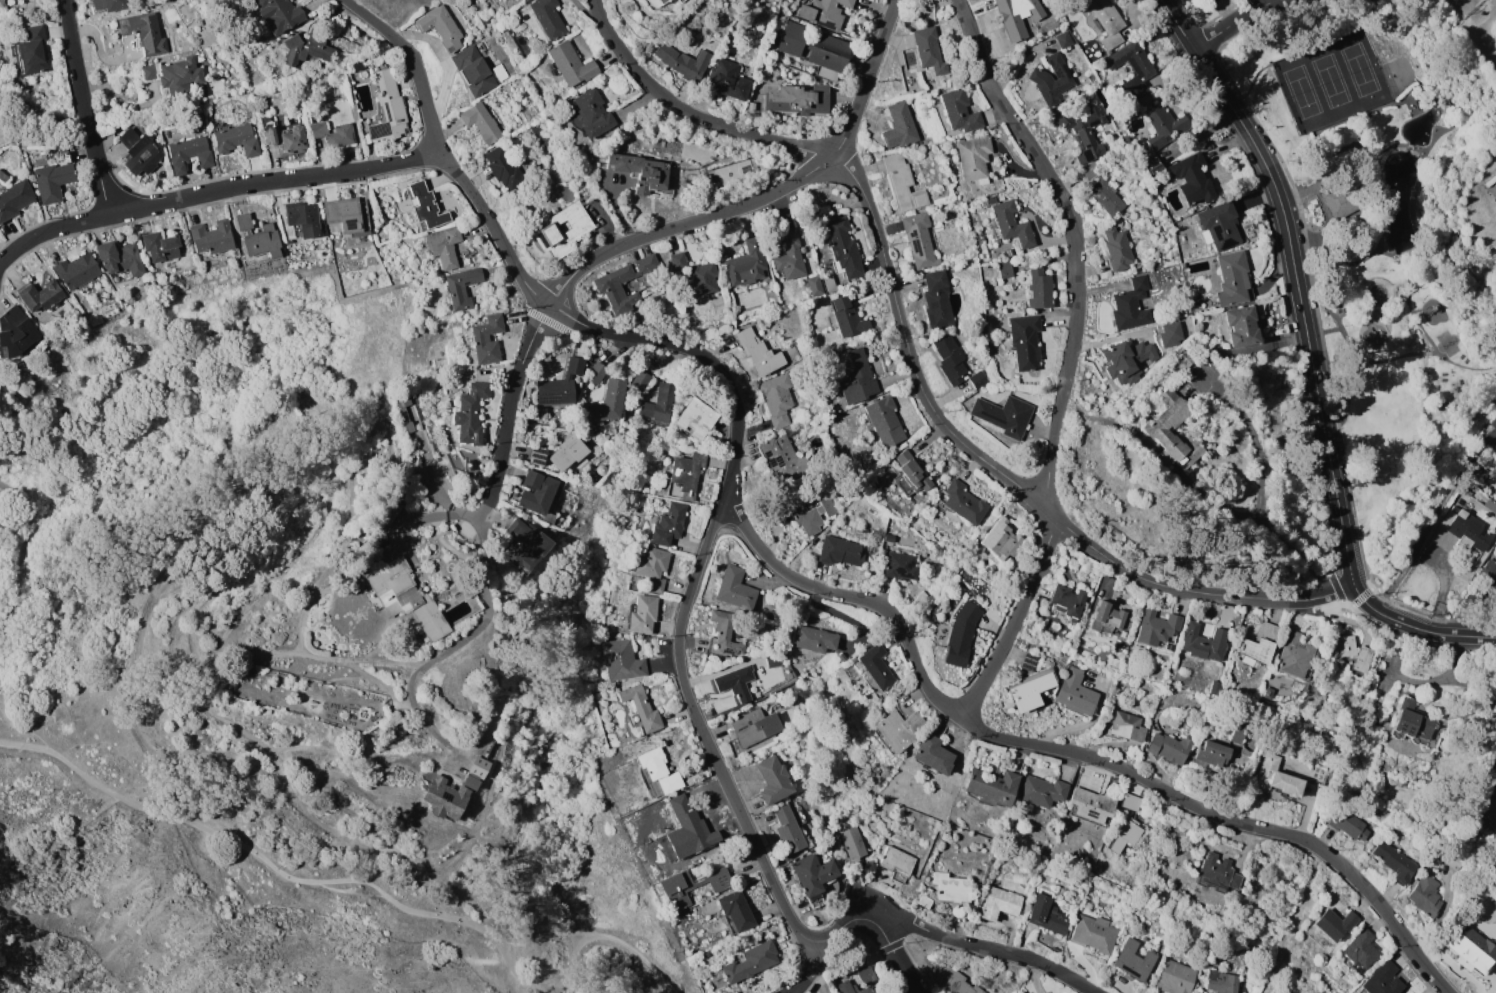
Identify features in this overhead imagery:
building: (229, 0)
building: (232, 0)
building: (526, 0)
building: (1211, 0)
building: (678, 1)
building: (655, 2)
building: (1, 3)
building: (108, 5)
building: (824, 12)
road: (1476, 12)
building: (279, 13)
building: (1014, 13)
building: (524, 16)
building: (1105, 16)
building: (548, 18)
road: (1235, 21)
road: (1491, 22)
building: (440, 26)
building: (143, 32)
building: (1061, 40)
building: (1111, 40)
road: (1489, 42)
building: (1495, 43)
building: (813, 45)
building: (307, 48)
building: (928, 50)
building: (30, 52)
building: (496, 62)
building: (679, 62)
building: (322, 64)
building: (571, 64)
building: (357, 65)
building: (1132, 68)
building: (474, 69)
park: (1359, 69)
building: (500, 72)
building: (174, 75)
park: (1399, 75)
building: (727, 79)
building: (1051, 79)
building: (1093, 79)
park: (1330, 80)
park: (1302, 91)
building: (797, 99)
road: (1410, 104)
building: (751, 105)
road: (84, 107)
building: (388, 108)
building: (959, 110)
building: (591, 113)
road: (46, 114)
park: (33, 117)
road: (1369, 121)
building: (481, 122)
building: (899, 126)
building: (1164, 126)
building: (318, 128)
building: (1085, 130)
building: (341, 135)
building: (236, 139)
building: (285, 139)
road: (1317, 148)
building: (62, 150)
building: (140, 152)
building: (189, 153)
building: (974, 158)
road: (1425, 158)
building: (1152, 164)
building: (504, 166)
building: (644, 173)
building: (1093, 173)
building: (3, 177)
building: (53, 177)
road: (1362, 179)
road: (1380, 179)
building: (1194, 180)
road: (272, 181)
building: (904, 184)
building: (1106, 197)
building: (1333, 197)
building: (14, 198)
building: (426, 206)
building: (456, 211)
building: (348, 214)
building: (302, 219)
building: (243, 221)
building: (1010, 221)
building: (1220, 225)
building: (562, 229)
road: (667, 229)
road: (49, 230)
building: (804, 230)
road: (1313, 234)
road: (1287, 236)
building: (212, 237)
building: (919, 240)
building: (262, 241)
building: (289, 241)
road: (1299, 243)
building: (162, 246)
building: (444, 246)
park: (1375, 248)
building: (842, 249)
building: (1117, 249)
building: (1009, 252)
building: (964, 255)
road: (1397, 256)
building: (790, 257)
building: (120, 258)
building: (679, 261)
building: (748, 264)
building: (905, 266)
building: (1004, 270)
building: (77, 271)
building: (703, 277)
building: (1233, 279)
building: (830, 284)
building: (815, 285)
building: (461, 287)
building: (608, 287)
building: (1039, 289)
building: (39, 294)
building: (937, 299)
building: (1131, 304)
road: (1416, 312)
road: (1341, 313)
building: (847, 317)
building: (720, 323)
building: (980, 327)
building: (1241, 327)
building: (15, 332)
road: (1323, 332)
building: (1170, 334)
road: (1425, 334)
building: (487, 338)
road: (1345, 338)
building: (1024, 342)
building: (759, 352)
building: (791, 352)
road: (1431, 352)
road: (1422, 353)
road: (1068, 356)
road: (1390, 358)
building: (1185, 359)
building: (950, 360)
building: (1128, 360)
road: (1363, 362)
building: (575, 365)
building: (1175, 367)
road: (913, 369)
building: (1263, 372)
building: (596, 373)
building: (857, 376)
building: (978, 380)
building: (641, 381)
building: (554, 391)
building: (777, 399)
building: (606, 403)
building: (658, 406)
building: (404, 411)
building: (470, 412)
building: (1003, 414)
building: (696, 418)
building: (556, 419)
building: (884, 421)
building: (610, 428)
building: (1156, 428)
building: (1492, 433)
building: (519, 436)
building: (568, 452)
building: (537, 457)
building: (781, 457)
building: (601, 470)
building: (912, 472)
building: (422, 474)
building: (1478, 474)
building: (685, 476)
road: (1260, 487)
building: (539, 496)
building: (963, 502)
building: (1460, 502)
building: (390, 512)
building: (811, 513)
building: (668, 525)
building: (862, 529)
building: (1466, 529)
building: (889, 538)
building: (1000, 540)
building: (524, 545)
road: (1421, 545)
building: (1494, 550)
road: (22, 551)
building: (839, 552)
park: (151, 561)
building: (900, 566)
building: (652, 567)
building: (1487, 580)
road: (795, 582)
building: (464, 587)
building: (735, 588)
building: (406, 597)
building: (1066, 602)
road: (1378, 612)
building: (642, 614)
building: (1109, 615)
building: (1156, 630)
building: (961, 634)
building: (723, 635)
building: (814, 639)
building: (1203, 643)
building: (1259, 644)
building: (1168, 646)
building: (1342, 646)
building: (1294, 654)
building: (843, 657)
building: (1362, 658)
building: (621, 660)
building: (773, 660)
building: (876, 666)
building: (736, 682)
building: (1214, 687)
building: (1030, 689)
building: (1075, 693)
building: (1267, 693)
building: (641, 711)
building: (1412, 723)
building: (754, 726)
building: (1127, 726)
road: (703, 730)
building: (897, 730)
building: (1236, 732)
building: (1169, 747)
building: (1213, 754)
building: (932, 755)
building: (658, 772)
park: (1491, 773)
building: (1277, 777)
building: (773, 780)
building: (991, 786)
building: (440, 787)
building: (1041, 791)
building: (1133, 803)
road: (1312, 805)
building: (1092, 806)
building: (1348, 824)
building: (788, 829)
building: (696, 832)
building: (1126, 834)
building: (853, 843)
building: (1394, 861)
building: (897, 863)
road: (277, 867)
building: (1218, 872)
building: (813, 874)
building: (690, 886)
building: (952, 887)
building: (1426, 895)
building: (925, 902)
building: (1000, 903)
building: (736, 910)
building: (1047, 914)
building: (1335, 924)
building: (1094, 934)
road: (955, 940)
road: (621, 941)
building: (1360, 949)
building: (1471, 949)
road: (898, 954)
building: (1132, 961)
building: (751, 962)
road: (810, 969)
building: (866, 975)
building: (1175, 978)
building: (954, 979)
building: (1381, 980)
building: (1221, 982)
building: (852, 988)
building: (1024, 992)
building: (1026, 992)

